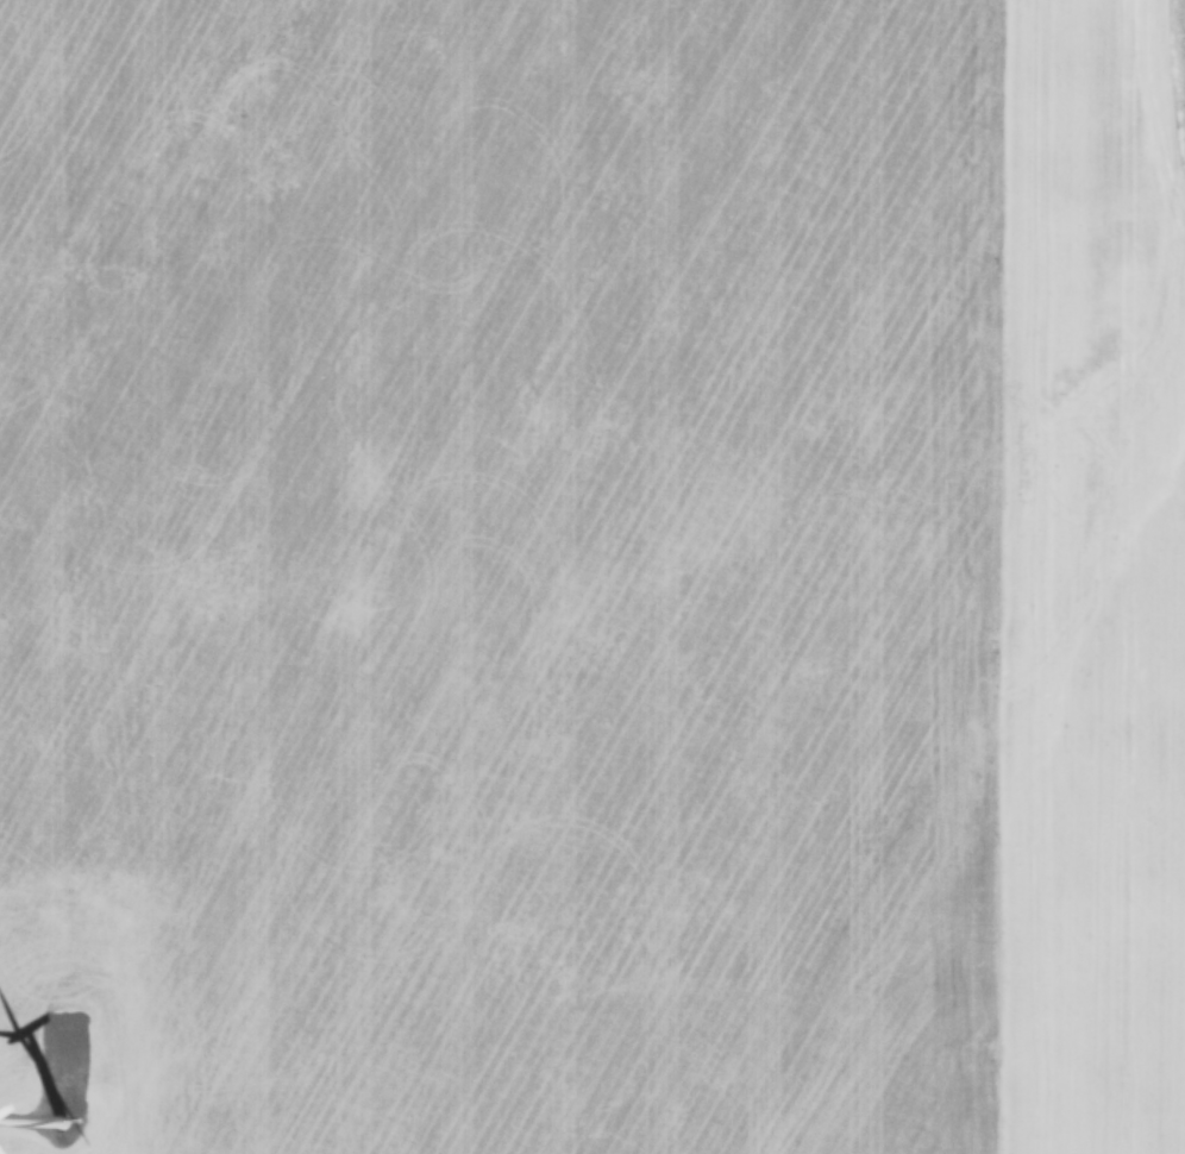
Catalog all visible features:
wind turbine: (24, 1124)

